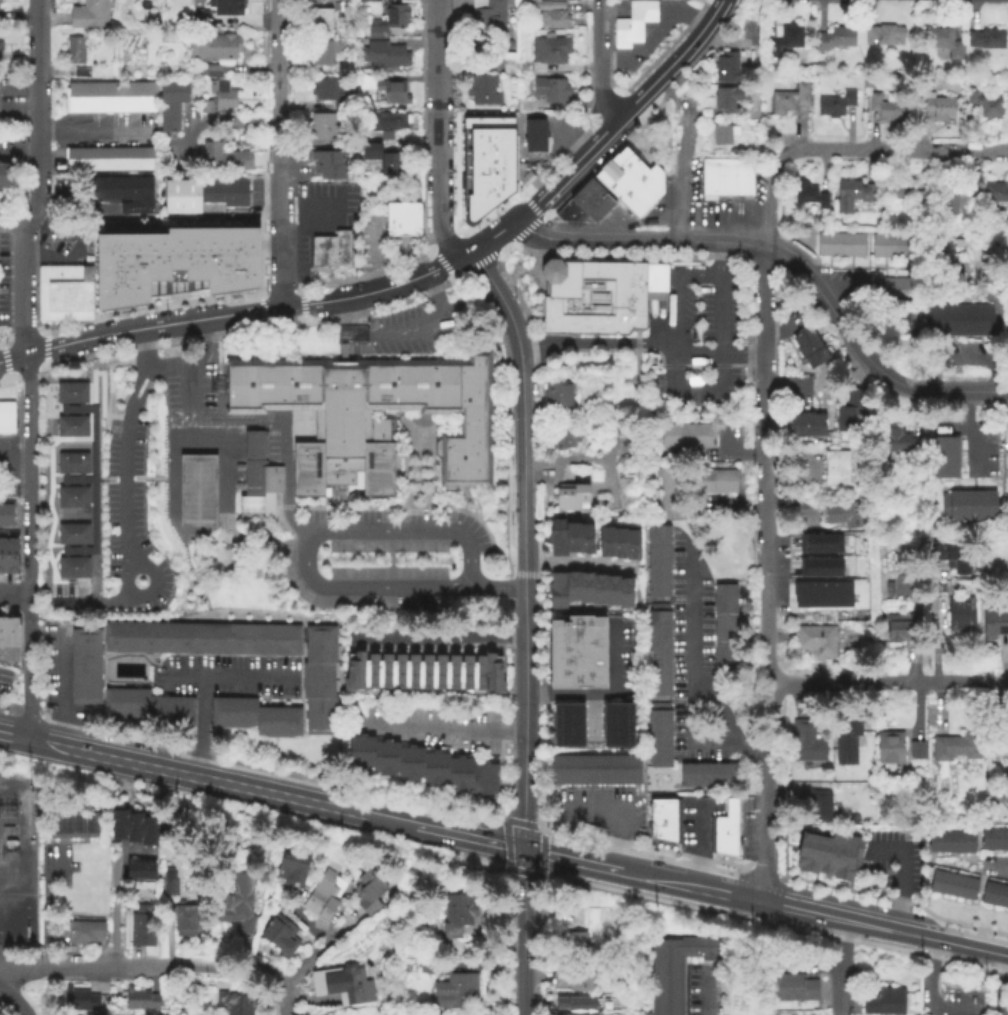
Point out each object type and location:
building: (324, 0)
road: (599, 1)
building: (366, 2)
building: (222, 9)
building: (89, 15)
building: (550, 15)
building: (486, 17)
building: (323, 20)
building: (388, 21)
building: (632, 21)
road: (651, 29)
road: (435, 34)
building: (882, 36)
building: (835, 39)
building: (783, 40)
building: (986, 40)
road: (37, 43)
building: (944, 43)
building: (1, 44)
building: (215, 48)
building: (77, 50)
building: (547, 53)
building: (322, 55)
building: (384, 56)
road: (599, 61)
building: (725, 65)
building: (347, 67)
building: (509, 67)
building: (212, 72)
building: (81, 73)
road: (276, 84)
building: (384, 90)
road: (436, 90)
building: (550, 90)
building: (481, 91)
building: (327, 92)
building: (174, 93)
building: (222, 95)
building: (122, 97)
building: (77, 98)
building: (788, 99)
building: (723, 100)
building: (835, 105)
building: (984, 105)
building: (525, 106)
building: (205, 107)
building: (936, 107)
building: (169, 110)
building: (888, 111)
road: (619, 112)
building: (388, 120)
building: (169, 125)
road: (210, 125)
building: (321, 127)
road: (91, 129)
building: (721, 134)
building: (534, 136)
road: (893, 150)
road: (18, 151)
road: (37, 158)
building: (327, 158)
building: (109, 159)
building: (223, 159)
building: (486, 159)
building: (384, 161)
building: (329, 171)
building: (525, 174)
building: (8, 175)
building: (739, 177)
building: (629, 178)
road: (681, 179)
building: (713, 179)
road: (437, 186)
building: (121, 192)
building: (202, 192)
building: (994, 193)
building: (810, 196)
building: (853, 196)
building: (909, 196)
building: (955, 197)
building: (590, 198)
road: (771, 202)
building: (564, 208)
building: (576, 215)
building: (403, 219)
road: (10, 226)
road: (245, 235)
road: (277, 238)
road: (637, 239)
building: (828, 246)
building: (852, 247)
building: (883, 248)
building: (906, 248)
building: (331, 251)
road: (59, 258)
flagpole: (529, 258)
road: (375, 261)
building: (171, 266)
road: (470, 266)
road: (447, 270)
building: (64, 271)
road: (833, 275)
building: (199, 280)
building: (236, 280)
building: (159, 287)
road: (676, 287)
road: (20, 289)
building: (883, 290)
building: (907, 291)
building: (603, 292)
building: (122, 293)
road: (499, 297)
building: (45, 298)
building: (72, 298)
building: (1007, 302)
road: (353, 307)
road: (264, 309)
road: (764, 309)
building: (550, 311)
road: (302, 312)
road: (831, 312)
building: (986, 317)
road: (261, 318)
building: (931, 318)
building: (942, 318)
building: (953, 318)
building: (964, 318)
building: (975, 318)
road: (425, 323)
building: (904, 325)
road: (256, 327)
road: (358, 329)
road: (781, 332)
building: (1007, 337)
building: (803, 338)
road: (596, 343)
building: (807, 349)
road: (720, 354)
road: (43, 356)
road: (92, 356)
road: (721, 357)
building: (816, 359)
road: (171, 363)
road: (35, 368)
road: (109, 376)
road: (134, 382)
road: (92, 385)
building: (357, 386)
road: (145, 387)
road: (785, 390)
road: (950, 390)
parking lot: (187, 391)
building: (557, 397)
building: (850, 410)
building: (6, 412)
road: (117, 415)
road: (504, 416)
building: (805, 424)
road: (250, 425)
building: (793, 425)
building: (818, 426)
building: (6, 428)
road: (954, 428)
road: (521, 431)
road: (970, 432)
building: (989, 433)
building: (564, 434)
building: (687, 436)
building: (907, 438)
building: (1007, 451)
building: (945, 457)
road: (13, 460)
building: (835, 468)
park: (284, 470)
road: (92, 477)
building: (79, 478)
building: (669, 479)
building: (256, 480)
building: (700, 481)
building: (723, 481)
building: (197, 491)
park: (197, 491)
building: (569, 498)
building: (669, 503)
building: (968, 506)
road: (28, 507)
building: (5, 515)
building: (842, 515)
road: (124, 527)
building: (572, 535)
road: (302, 537)
building: (556, 537)
building: (586, 537)
building: (605, 540)
building: (619, 541)
building: (819, 542)
building: (632, 543)
road: (522, 546)
road: (48, 553)
building: (952, 555)
building: (1, 556)
building: (11, 557)
parking lot: (386, 560)
building: (659, 561)
road: (578, 563)
building: (819, 566)
road: (516, 572)
road: (93, 577)
road: (510, 579)
road: (498, 586)
building: (573, 587)
building: (557, 589)
building: (586, 590)
building: (599, 592)
building: (821, 592)
road: (15, 593)
building: (612, 593)
building: (626, 595)
building: (960, 615)
building: (994, 622)
building: (724, 627)
building: (900, 631)
building: (0, 633)
building: (9, 633)
road: (764, 636)
road: (436, 637)
building: (202, 640)
building: (816, 640)
building: (658, 649)
road: (14, 653)
building: (577, 653)
building: (85, 667)
building: (424, 673)
road: (696, 673)
road: (232, 677)
building: (319, 682)
road: (886, 683)
road: (59, 689)
road: (604, 694)
road: (30, 703)
building: (148, 708)
road: (522, 716)
building: (256, 717)
road: (592, 717)
road: (732, 721)
building: (618, 723)
building: (569, 725)
road: (198, 727)
road: (438, 729)
building: (659, 735)
road: (13, 738)
building: (847, 742)
building: (805, 743)
road: (43, 745)
building: (956, 747)
building: (889, 748)
building: (1000, 748)
building: (916, 751)
building: (424, 766)
building: (594, 767)
road: (196, 776)
building: (707, 776)
building: (1007, 803)
building: (819, 807)
building: (726, 817)
road: (614, 819)
building: (55, 820)
building: (67, 820)
building: (79, 820)
building: (92, 820)
building: (117, 821)
building: (663, 821)
building: (133, 825)
building: (149, 828)
road: (444, 830)
building: (994, 841)
building: (723, 843)
building: (952, 844)
road: (696, 846)
traffic signals: (522, 848)
building: (828, 852)
road: (134, 853)
road: (567, 858)
power substation: (16, 861)
building: (291, 865)
building: (140, 869)
road: (900, 876)
building: (168, 885)
building: (953, 887)
building: (368, 890)
building: (995, 896)
building: (321, 898)
building: (237, 902)
road: (44, 907)
building: (457, 911)
road: (810, 913)
road: (117, 914)
road: (300, 916)
building: (186, 919)
building: (142, 924)
road: (327, 925)
road: (343, 926)
building: (79, 929)
road: (523, 931)
building: (280, 934)
building: (575, 940)
road: (303, 964)
road: (840, 967)
road: (86, 968)
road: (228, 969)
building: (675, 971)
building: (574, 977)
building: (345, 983)
building: (450, 983)
road: (998, 985)
road: (927, 988)
building: (794, 989)
road: (702, 995)
building: (79, 998)
building: (141, 998)
road: (13, 1000)
road: (284, 1000)
building: (575, 1001)
building: (233, 1002)
building: (884, 1003)
building: (577, 1012)
building: (433, 1014)

